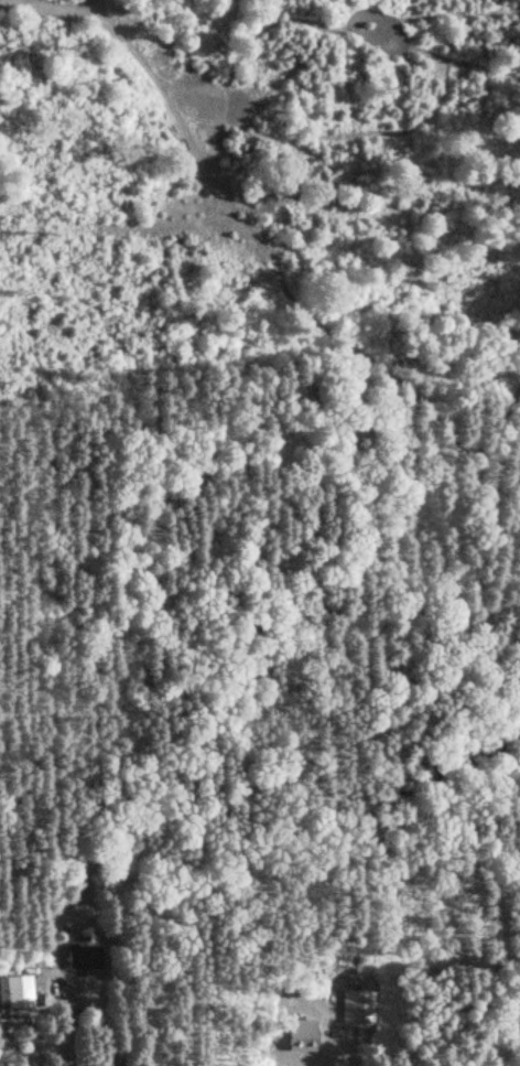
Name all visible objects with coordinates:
building: (83, 957)
building: (14, 991)
building: (300, 1032)

